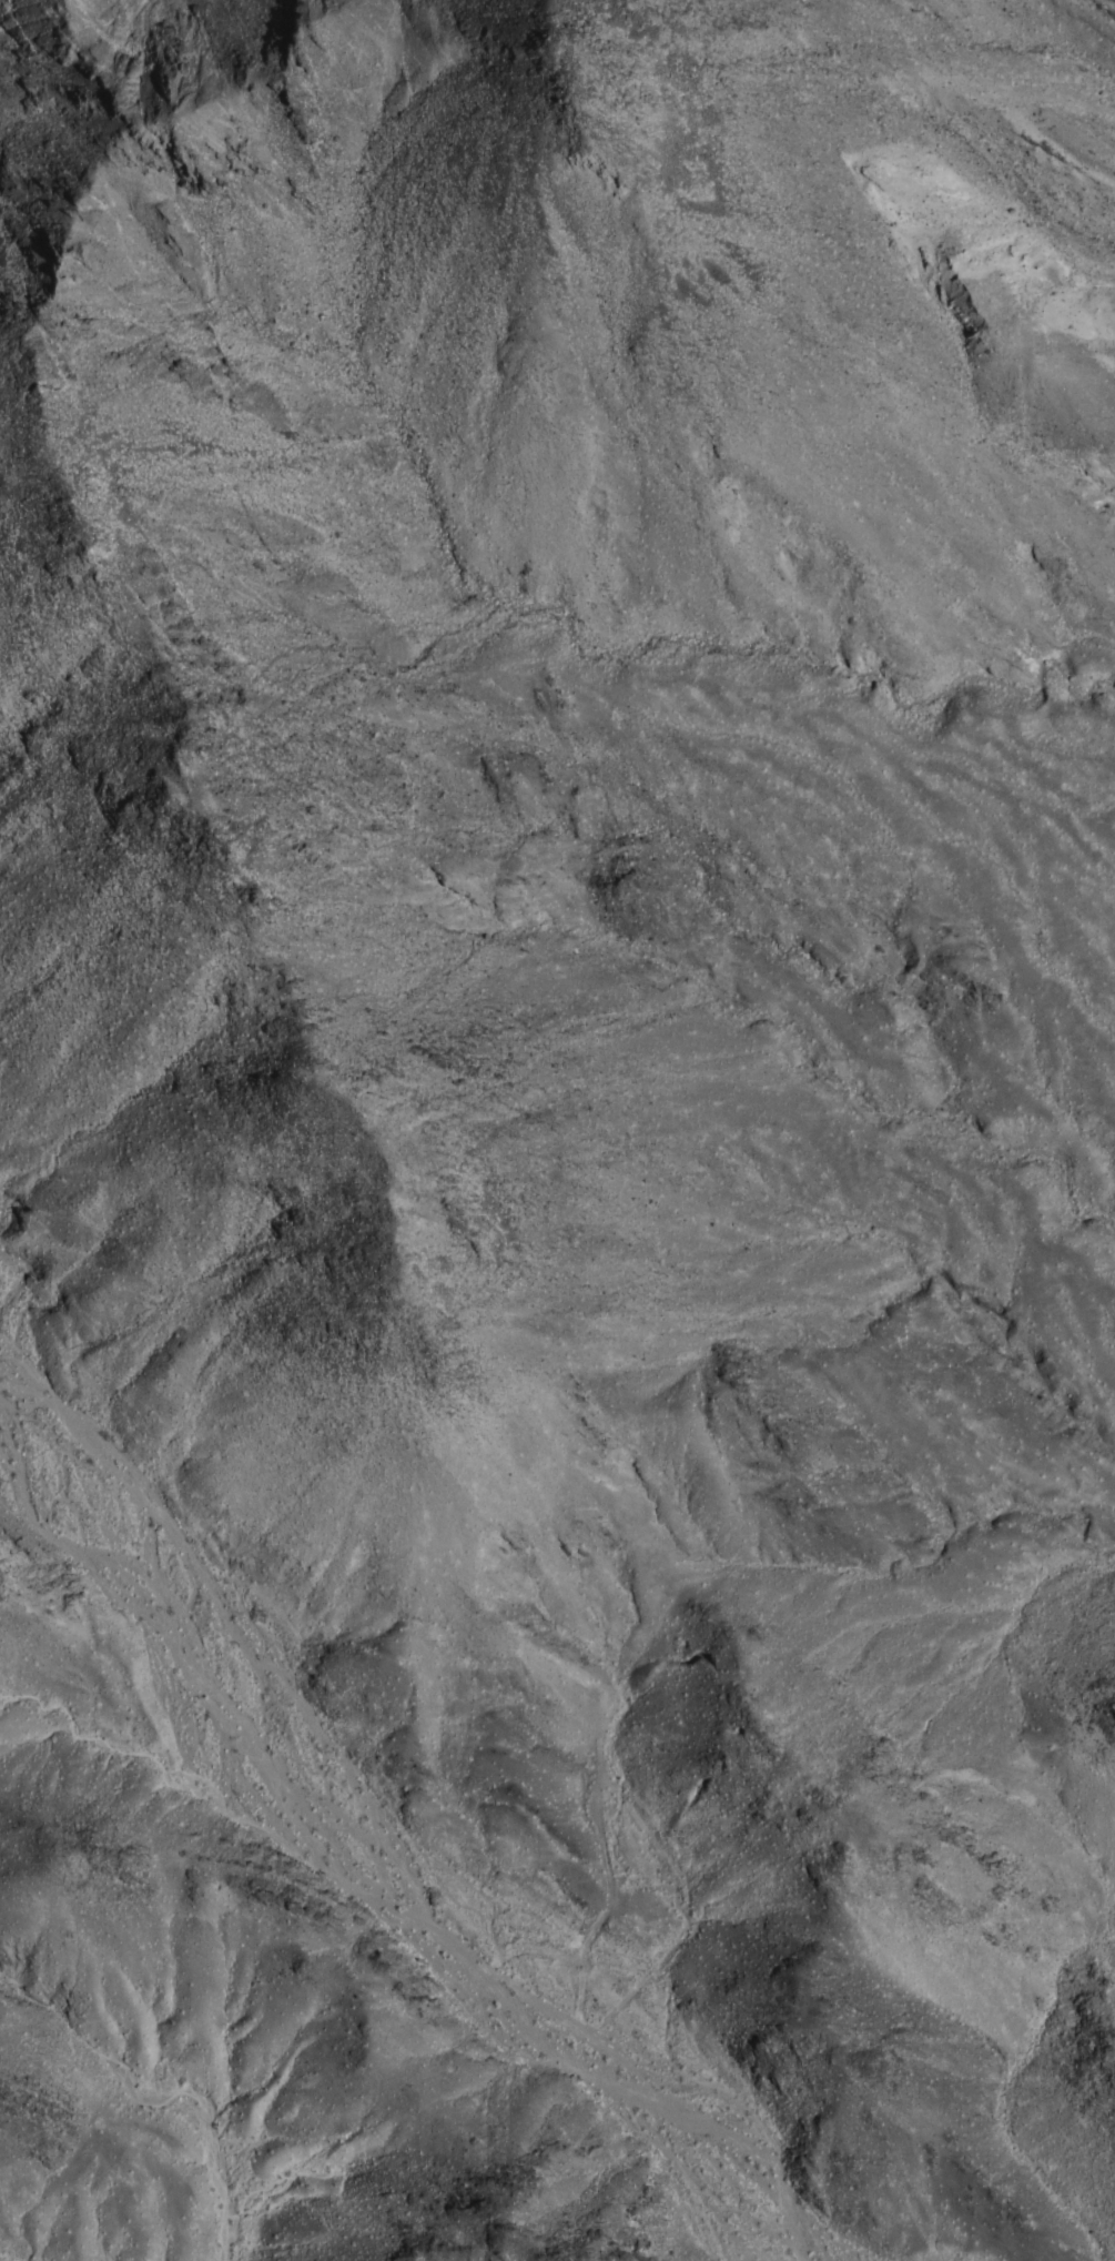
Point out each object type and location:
road: (219, 2197)

